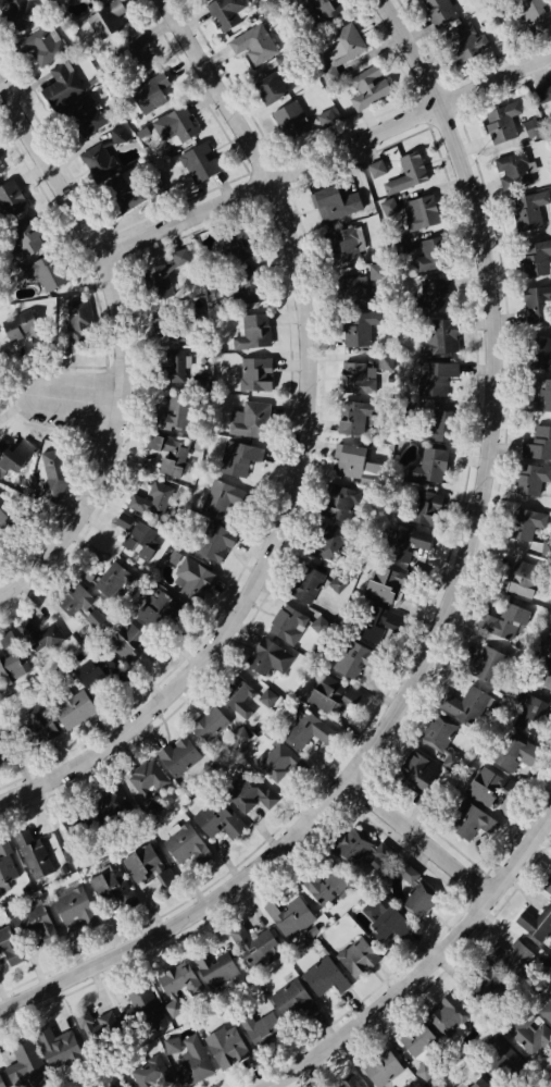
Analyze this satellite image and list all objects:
building: (77, 0)
building: (97, 0)
building: (512, 0)
building: (326, 10)
building: (438, 11)
building: (224, 13)
building: (534, 14)
building: (16, 15)
building: (104, 17)
building: (253, 42)
building: (463, 44)
building: (38, 45)
building: (341, 45)
building: (127, 54)
building: (329, 73)
building: (60, 84)
building: (268, 87)
building: (367, 87)
building: (149, 91)
building: (542, 92)
building: (80, 116)
building: (324, 116)
building: (290, 119)
building: (501, 121)
building: (176, 124)
building: (531, 127)
road: (327, 155)
building: (101, 157)
building: (198, 161)
road: (53, 165)
building: (165, 165)
building: (0, 168)
building: (376, 168)
building: (512, 170)
building: (406, 173)
building: (114, 187)
building: (11, 196)
building: (335, 201)
building: (388, 206)
building: (421, 211)
building: (530, 211)
building: (24, 242)
building: (399, 243)
building: (234, 244)
building: (341, 245)
building: (431, 254)
building: (535, 255)
building: (45, 272)
building: (161, 275)
building: (247, 286)
building: (352, 291)
building: (433, 295)
building: (538, 304)
building: (78, 322)
building: (20, 325)
building: (360, 326)
building: (252, 331)
building: (178, 332)
building: (437, 336)
building: (538, 355)
building: (201, 359)
building: (387, 361)
building: (176, 365)
building: (253, 372)
building: (355, 376)
building: (434, 378)
building: (201, 381)
building: (539, 395)
road: (84, 396)
building: (174, 412)
building: (355, 417)
building: (250, 418)
building: (438, 424)
building: (15, 443)
road: (116, 445)
building: (538, 445)
building: (170, 452)
road: (305, 453)
building: (238, 457)
building: (354, 460)
building: (428, 467)
building: (55, 471)
building: (533, 478)
building: (224, 497)
building: (153, 499)
building: (339, 503)
building: (419, 504)
building: (4, 510)
building: (524, 520)
building: (136, 535)
building: (215, 541)
building: (326, 541)
building: (403, 542)
building: (546, 548)
building: (174, 557)
building: (193, 575)
building: (107, 577)
building: (524, 577)
building: (388, 580)
building: (311, 582)
road: (453, 602)
building: (77, 603)
building: (156, 608)
building: (504, 619)
building: (292, 622)
building: (376, 623)
building: (42, 635)
building: (133, 640)
building: (548, 642)
building: (266, 655)
building: (11, 657)
building: (355, 658)
building: (486, 664)
building: (95, 667)
building: (539, 674)
building: (329, 692)
building: (238, 694)
building: (266, 697)
building: (464, 704)
building: (73, 706)
building: (533, 714)
building: (209, 724)
building: (33, 725)
building: (303, 725)
building: (437, 730)
building: (238, 734)
building: (2, 736)
building: (515, 752)
building: (178, 754)
building: (451, 761)
building: (281, 762)
building: (0, 764)
building: (417, 767)
building: (146, 780)
building: (491, 786)
building: (250, 789)
building: (109, 807)
building: (220, 817)
building: (471, 822)
road: (423, 835)
building: (184, 842)
building: (362, 848)
building: (34, 853)
building: (148, 865)
building: (5, 867)
building: (547, 882)
building: (324, 887)
building: (113, 888)
building: (417, 894)
building: (74, 905)
building: (288, 914)
building: (385, 917)
building: (536, 922)
building: (34, 924)
building: (255, 942)
building: (9, 948)
building: (358, 955)
building: (502, 961)
building: (213, 966)
road: (425, 969)
building: (325, 975)
building: (180, 987)
building: (483, 999)
building: (291, 1002)
building: (145, 1006)
building: (547, 1010)
building: (446, 1013)
building: (97, 1028)
building: (262, 1028)
building: (530, 1032)
building: (418, 1040)
building: (172, 1045)
building: (227, 1046)
building: (59, 1047)
building: (496, 1057)
building: (33, 1059)
building: (193, 1060)
building: (379, 1070)
building: (425, 1071)
building: (151, 1073)
building: (478, 1082)
building: (347, 1083)
building: (0, 1085)
building: (111, 1085)
building: (437, 1086)
building: (439, 1086)

